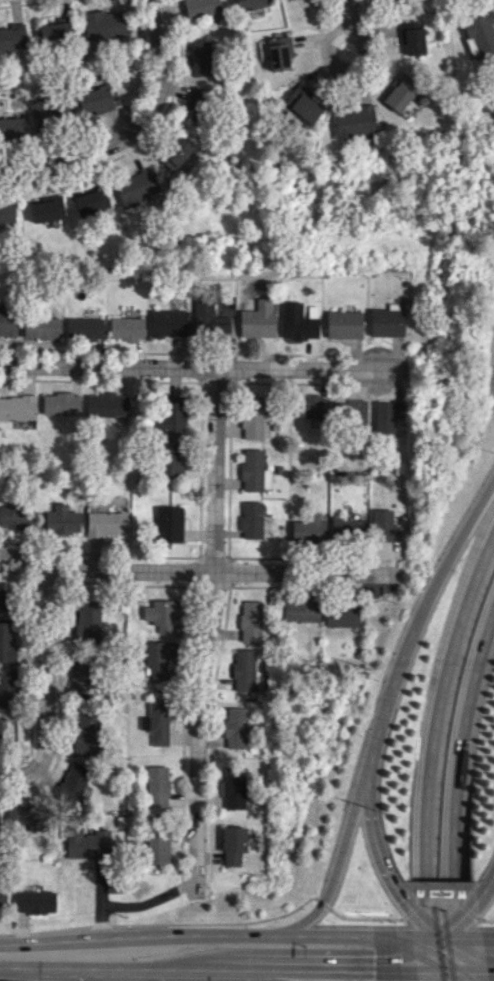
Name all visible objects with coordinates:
building: (251, 4)
road: (20, 5)
building: (201, 7)
road: (345, 17)
building: (104, 24)
building: (54, 32)
building: (480, 34)
building: (12, 37)
building: (411, 38)
building: (279, 53)
building: (200, 55)
road: (357, 63)
building: (201, 72)
building: (398, 95)
building: (95, 101)
building: (302, 103)
building: (195, 105)
building: (408, 108)
building: (49, 112)
road: (123, 119)
building: (353, 120)
building: (11, 127)
road: (134, 130)
road: (142, 142)
building: (176, 153)
building: (137, 188)
building: (90, 201)
building: (46, 209)
building: (7, 211)
building: (209, 319)
building: (259, 319)
building: (299, 320)
building: (386, 322)
building: (7, 323)
building: (169, 323)
building: (344, 324)
building: (41, 327)
building: (126, 327)
building: (85, 328)
road: (201, 353)
road: (201, 367)
road: (115, 380)
road: (229, 386)
building: (61, 403)
building: (106, 405)
building: (309, 406)
building: (17, 407)
building: (350, 411)
building: (386, 415)
building: (170, 416)
building: (252, 417)
building: (171, 460)
building: (254, 471)
building: (16, 517)
building: (251, 519)
building: (62, 520)
building: (106, 523)
building: (169, 523)
building: (384, 526)
building: (307, 528)
building: (348, 529)
road: (452, 550)
road: (185, 556)
road: (297, 557)
road: (197, 570)
road: (33, 572)
road: (151, 585)
building: (3, 598)
building: (300, 610)
building: (163, 614)
building: (341, 615)
building: (87, 619)
building: (251, 621)
road: (206, 632)
building: (6, 642)
road: (218, 653)
building: (158, 658)
building: (244, 669)
building: (80, 670)
road: (32, 680)
road: (46, 686)
building: (8, 687)
road: (389, 701)
building: (157, 722)
building: (235, 727)
building: (1, 731)
building: (86, 734)
road: (431, 753)
building: (73, 782)
building: (157, 786)
building: (234, 787)
road: (456, 795)
building: (25, 817)
building: (86, 843)
road: (376, 844)
building: (158, 845)
building: (233, 845)
road: (338, 861)
road: (485, 887)
building: (2, 898)
traffic signals: (402, 898)
building: (35, 901)
road: (438, 903)
road: (322, 904)
road: (413, 907)
road: (468, 911)
road: (404, 915)
road: (363, 918)
road: (458, 920)
road: (478, 920)
road: (486, 920)
road: (422, 921)
road: (160, 924)
road: (236, 934)
road: (391, 937)
road: (446, 938)
road: (488, 938)
road: (424, 942)
road: (397, 944)
road: (488, 947)
road: (460, 953)
road: (58, 954)
road: (6, 955)
road: (392, 959)
road: (464, 959)
road: (429, 961)
road: (154, 966)
road: (12, 968)
road: (240, 969)
road: (490, 969)
road: (322, 970)
traffic signals: (373, 971)
road: (394, 971)
road: (450, 972)
road: (490, 972)
road: (279, 975)
road: (440, 976)
road: (456, 976)

